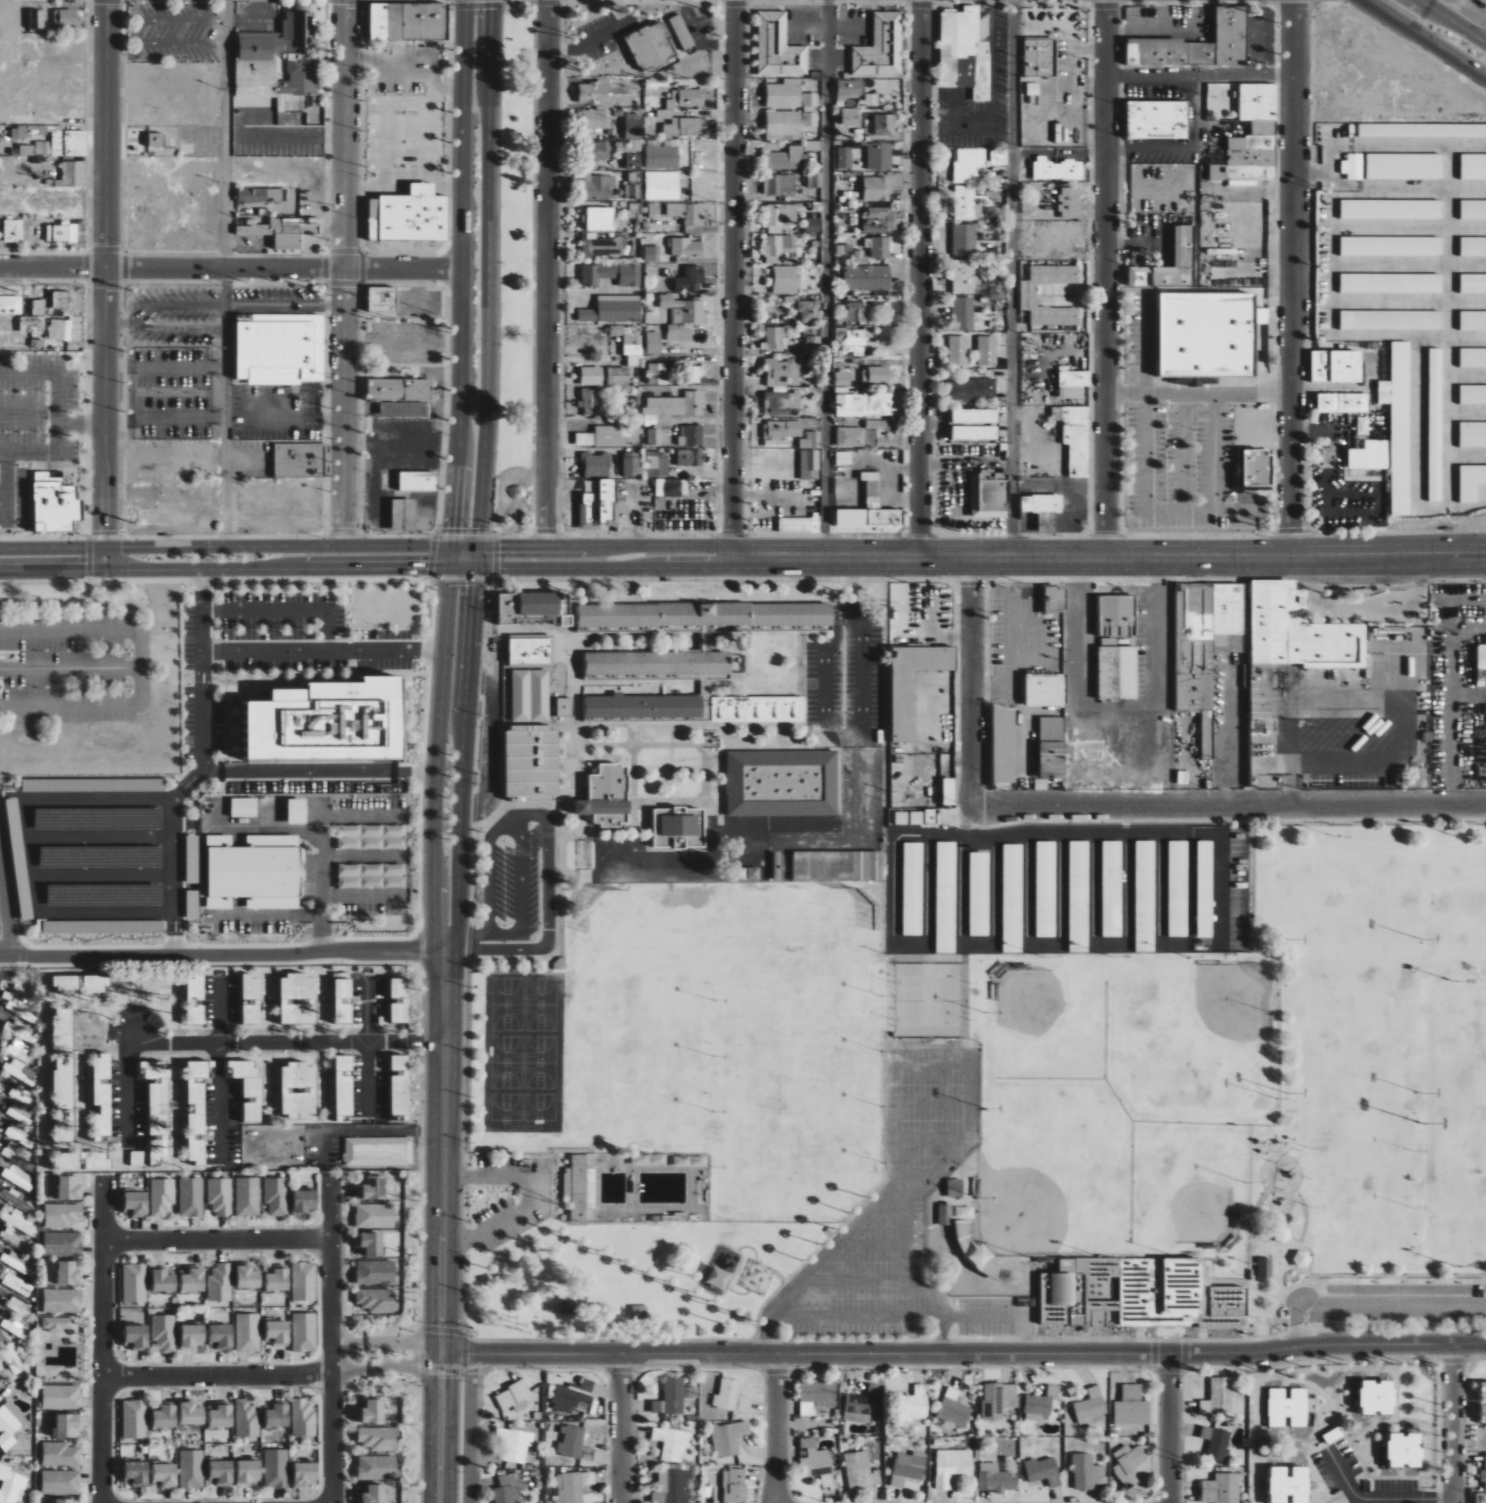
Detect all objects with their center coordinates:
road: (247, 17)
building: (68, 18)
building: (38, 19)
road: (166, 19)
road: (1429, 20)
building: (409, 21)
road: (1452, 21)
building: (682, 32)
road: (1256, 36)
building: (278, 37)
road: (1425, 38)
road: (166, 42)
building: (1196, 45)
building: (649, 46)
building: (779, 47)
building: (881, 47)
building: (965, 48)
building: (1040, 57)
road: (1478, 69)
building: (966, 72)
road: (1201, 73)
building: (301, 77)
building: (256, 78)
building: (851, 88)
building: (1032, 89)
building: (784, 95)
building: (872, 99)
building: (683, 101)
building: (1258, 101)
building: (596, 103)
building: (810, 109)
building: (850, 116)
building: (1158, 120)
building: (784, 125)
building: (885, 125)
building: (684, 127)
building: (1264, 127)
building: (1422, 130)
building: (19, 132)
building: (634, 132)
road: (226, 133)
building: (156, 139)
building: (69, 143)
road: (1187, 147)
building: (35, 149)
building: (601, 150)
building: (880, 156)
building: (662, 157)
building: (995, 157)
building: (845, 158)
building: (783, 159)
building: (633, 161)
building: (1247, 161)
building: (968, 164)
building: (1353, 166)
building: (1405, 166)
building: (1473, 166)
building: (1058, 169)
building: (815, 180)
building: (780, 183)
building: (662, 185)
building: (598, 186)
building: (633, 186)
building: (877, 188)
building: (259, 195)
building: (1070, 202)
building: (964, 203)
building: (1392, 209)
building: (1473, 209)
building: (655, 210)
building: (686, 213)
building: (409, 215)
building: (780, 217)
building: (600, 219)
building: (880, 220)
building: (813, 224)
building: (13, 231)
building: (62, 232)
building: (281, 232)
building: (964, 239)
building: (1184, 245)
building: (879, 246)
building: (1392, 246)
building: (686, 247)
building: (777, 247)
building: (1473, 247)
building: (653, 253)
road: (462, 264)
road: (231, 267)
road: (344, 273)
road: (487, 273)
road: (548, 273)
building: (611, 274)
building: (966, 276)
building: (867, 277)
road: (734, 278)
road: (827, 278)
road: (922, 278)
road: (1012, 278)
building: (691, 279)
road: (1107, 279)
road: (1292, 279)
building: (786, 280)
building: (1392, 283)
building: (1473, 283)
road: (106, 285)
parking lot: (275, 294)
building: (1028, 295)
flagpole: (321, 298)
building: (61, 299)
building: (382, 299)
building: (666, 301)
building: (38, 304)
building: (10, 305)
road: (233, 306)
building: (614, 309)
road: (226, 310)
building: (690, 311)
building: (809, 311)
building: (855, 312)
building: (963, 313)
road: (145, 315)
parking lot: (173, 317)
building: (1391, 320)
building: (1473, 321)
road: (120, 325)
building: (60, 330)
road: (179, 330)
building: (679, 333)
building: (1209, 334)
building: (629, 338)
building: (774, 338)
building: (654, 341)
building: (813, 344)
building: (278, 345)
building: (958, 350)
building: (987, 351)
building: (1473, 358)
road: (165, 366)
building: (1336, 366)
building: (781, 371)
road: (52, 373)
building: (657, 374)
building: (695, 374)
building: (878, 374)
building: (592, 376)
building: (618, 376)
building: (272, 378)
building: (1073, 383)
building: (399, 389)
building: (971, 389)
road: (1199, 392)
building: (1473, 394)
building: (589, 398)
building: (781, 402)
building: (1343, 402)
building: (863, 403)
building: (676, 405)
building: (404, 409)
building: (974, 416)
road: (165, 421)
road: (82, 423)
building: (1436, 425)
building: (1399, 426)
building: (782, 430)
building: (884, 432)
building: (974, 433)
building: (1473, 434)
building: (694, 435)
building: (609, 436)
building: (655, 436)
building: (850, 437)
building: (1075, 437)
building: (811, 440)
road: (225, 450)
road: (41, 451)
road: (1181, 451)
road: (1214, 451)
road: (1145, 453)
building: (1371, 455)
building: (690, 458)
building: (843, 458)
building: (299, 460)
road: (954, 462)
building: (596, 464)
building: (631, 464)
building: (657, 464)
building: (810, 464)
building: (1258, 467)
building: (418, 481)
building: (1472, 482)
building: (672, 487)
building: (988, 495)
building: (54, 504)
building: (598, 506)
building: (870, 507)
building: (1044, 510)
building: (404, 515)
road: (633, 515)
road: (957, 515)
building: (799, 525)
traffic signals: (453, 529)
road: (452, 538)
road: (225, 547)
traffic signals: (452, 547)
road: (464, 547)
road: (606, 547)
traffic signals: (477, 548)
road: (852, 557)
road: (1392, 557)
road: (451, 558)
road: (476, 558)
road: (1135, 558)
road: (617, 568)
traffic signals: (450, 569)
road: (474, 569)
traffic signals: (476, 569)
road: (224, 570)
road: (852, 593)
building: (1055, 599)
gas station: (1397, 602)
building: (527, 606)
road: (1366, 606)
road: (285, 609)
building: (705, 615)
building: (1205, 645)
building: (1117, 649)
road: (324, 651)
building: (530, 651)
building: (1481, 656)
building: (1293, 662)
building: (657, 663)
road: (69, 667)
road: (138, 667)
road: (1016, 668)
building: (913, 684)
building: (1046, 690)
building: (530, 696)
road: (1453, 705)
building: (565, 707)
building: (643, 707)
building: (758, 709)
road: (1118, 714)
building: (328, 723)
building: (1052, 729)
road: (853, 735)
road: (488, 743)
building: (1004, 745)
road: (437, 753)
road: (462, 753)
building: (1052, 760)
building: (531, 761)
road: (204, 766)
road: (213, 770)
road: (307, 770)
road: (415, 770)
building: (782, 783)
building: (949, 792)
building: (607, 797)
road: (1104, 805)
building: (244, 808)
building: (297, 812)
building: (931, 816)
building: (951, 816)
building: (901, 818)
building: (916, 818)
building: (681, 825)
road: (101, 837)
building: (372, 837)
road: (29, 849)
building: (191, 857)
building: (19, 862)
building: (838, 866)
building: (255, 872)
building: (747, 874)
road: (104, 876)
building: (371, 876)
road: (319, 882)
building: (1177, 888)
building: (912, 889)
building: (1045, 889)
building: (1111, 889)
building: (1204, 889)
building: (978, 894)
building: (1078, 896)
building: (1144, 896)
building: (945, 897)
building: (1012, 898)
road: (547, 900)
road: (6, 902)
building: (192, 904)
park: (1457, 905)
building: (26, 915)
building: (103, 927)
road: (467, 934)
road: (517, 934)
road: (221, 949)
building: (80, 983)
building: (343, 998)
building: (297, 999)
building: (195, 1000)
building: (251, 1000)
park: (929, 1000)
building: (399, 1001)
park: (1355, 1021)
building: (18, 1030)
road: (444, 1032)
road: (367, 1042)
park: (1457, 1042)
road: (286, 1043)
park: (522, 1052)
building: (25, 1054)
road: (931, 1064)
building: (17, 1070)
road: (220, 1070)
building: (62, 1073)
road: (127, 1083)
building: (399, 1084)
building: (247, 1085)
building: (298, 1089)
building: (156, 1093)
building: (101, 1094)
park: (1121, 1099)
road: (930, 1101)
building: (196, 1109)
building: (20, 1112)
road: (361, 1130)
road: (926, 1137)
building: (378, 1151)
building: (150, 1153)
road: (445, 1153)
building: (19, 1157)
park: (961, 1164)
park: (1457, 1172)
building: (18, 1177)
building: (577, 1186)
building: (69, 1187)
building: (374, 1187)
building: (955, 1187)
building: (276, 1195)
building: (161, 1196)
building: (219, 1196)
building: (247, 1196)
building: (191, 1197)
road: (534, 1198)
building: (15, 1200)
building: (304, 1200)
building: (136, 1203)
road: (875, 1203)
parking lot: (531, 1204)
road: (329, 1211)
building: (964, 1212)
parking lot: (902, 1213)
building: (945, 1214)
building: (62, 1215)
building: (375, 1215)
road: (904, 1216)
building: (17, 1241)
road: (131, 1241)
road: (242, 1241)
building: (372, 1243)
road: (870, 1243)
building: (62, 1244)
building: (969, 1245)
building: (980, 1256)
building: (1265, 1269)
building: (68, 1272)
building: (375, 1272)
building: (247, 1276)
building: (277, 1279)
road: (859, 1279)
building: (163, 1280)
building: (193, 1280)
building: (304, 1281)
building: (134, 1282)
building: (220, 1282)
building: (15, 1283)
building: (1121, 1291)
building: (376, 1299)
building: (62, 1300)
road: (1371, 1303)
parking lot: (1405, 1303)
building: (1230, 1304)
building: (17, 1306)
building: (568, 1306)
road: (898, 1316)
building: (57, 1324)
building: (15, 1327)
building: (304, 1331)
building: (164, 1332)
building: (248, 1332)
building: (277, 1332)
building: (137, 1335)
building: (192, 1336)
building: (221, 1336)
road: (442, 1340)
road: (105, 1341)
road: (404, 1343)
road: (349, 1344)
road: (964, 1352)
building: (10, 1356)
road: (380, 1357)
building: (1, 1367)
road: (405, 1368)
road: (350, 1370)
road: (331, 1372)
road: (256, 1375)
road: (143, 1377)
building: (515, 1396)
building: (572, 1396)
building: (731, 1396)
building: (816, 1396)
building: (1377, 1396)
building: (61, 1397)
building: (671, 1397)
building: (1218, 1397)
building: (999, 1400)
building: (862, 1404)
building: (913, 1404)
building: (1041, 1404)
building: (1091, 1405)
building: (1132, 1406)
building: (1288, 1407)
building: (953, 1409)
building: (373, 1411)
building: (191, 1413)
building: (1483, 1413)
building: (277, 1414)
building: (164, 1416)
building: (221, 1416)
building: (246, 1418)
building: (303, 1418)
building: (134, 1419)
road: (1452, 1423)
building: (9, 1424)
building: (67, 1425)
road: (1170, 1427)
road: (621, 1428)
road: (777, 1428)
road: (1469, 1431)
building: (378, 1438)
building: (729, 1438)
building: (672, 1442)
building: (1216, 1442)
building: (515, 1443)
building: (1405, 1449)
building: (60, 1454)
building: (816, 1461)
building: (1128, 1464)
building: (377, 1467)
building: (952, 1467)
building: (276, 1468)
building: (191, 1469)
building: (861, 1470)
building: (221, 1471)
building: (248, 1471)
building: (1043, 1471)
building: (136, 1472)
building: (1087, 1472)
building: (304, 1474)
building: (164, 1475)
building: (1484, 1475)
building: (996, 1478)
building: (60, 1482)
building: (10, 1484)
building: (1289, 1484)
building: (671, 1486)
building: (735, 1486)
building: (569, 1487)
building: (509, 1489)
building: (1221, 1489)
building: (373, 1493)
road: (1377, 1498)
building: (64, 1500)

